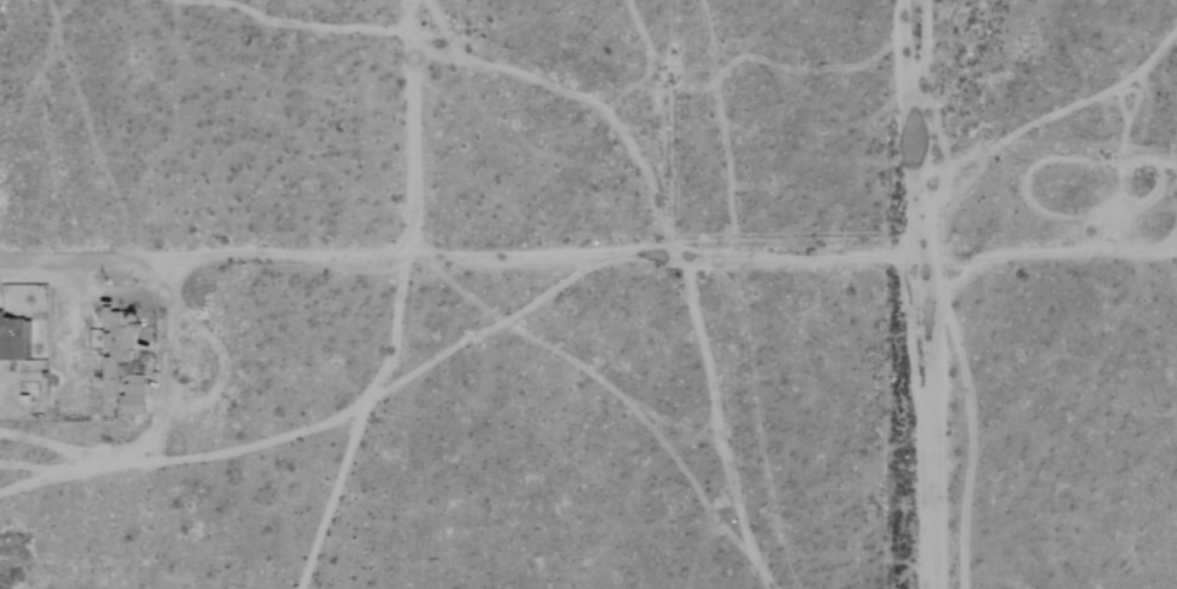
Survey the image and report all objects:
road: (410, 127)
road: (526, 257)
road: (68, 259)
road: (919, 294)
building: (12, 338)
building: (112, 349)
building: (128, 404)

